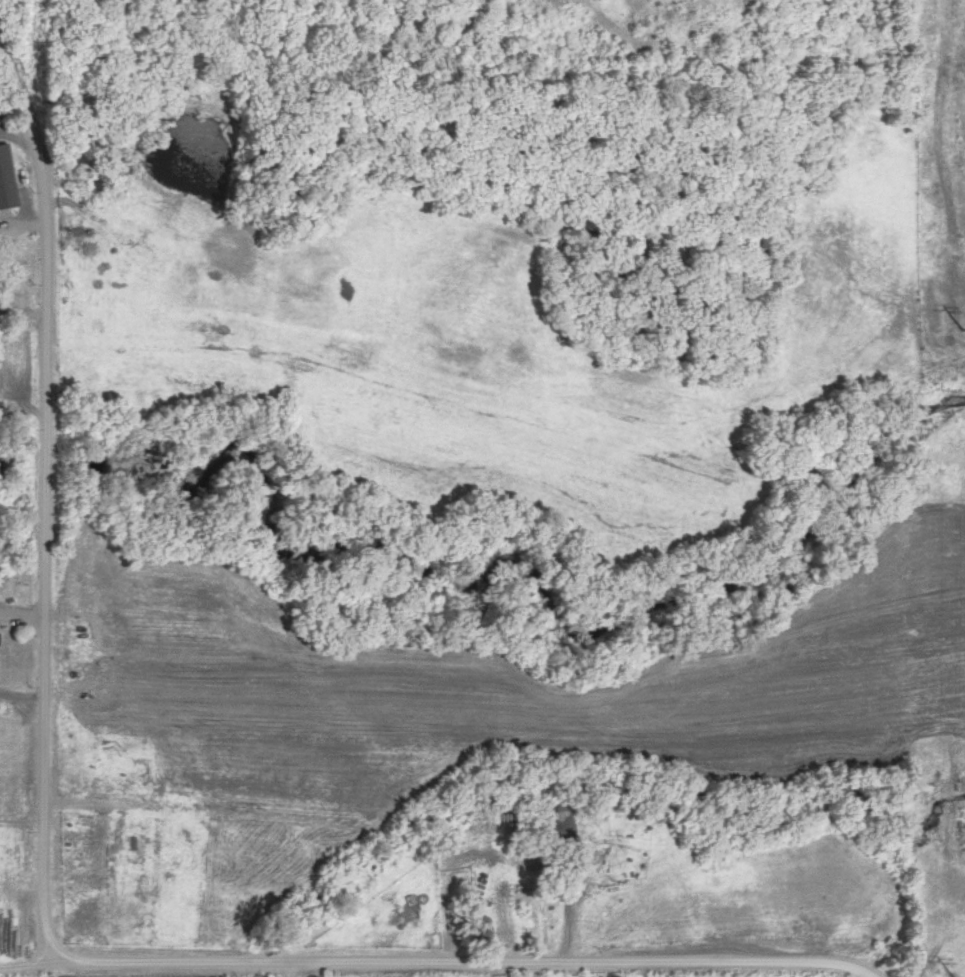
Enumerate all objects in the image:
building: (6, 179)
road: (39, 496)
building: (498, 921)
road: (413, 959)
road: (288, 968)
road: (505, 968)
road: (847, 970)

